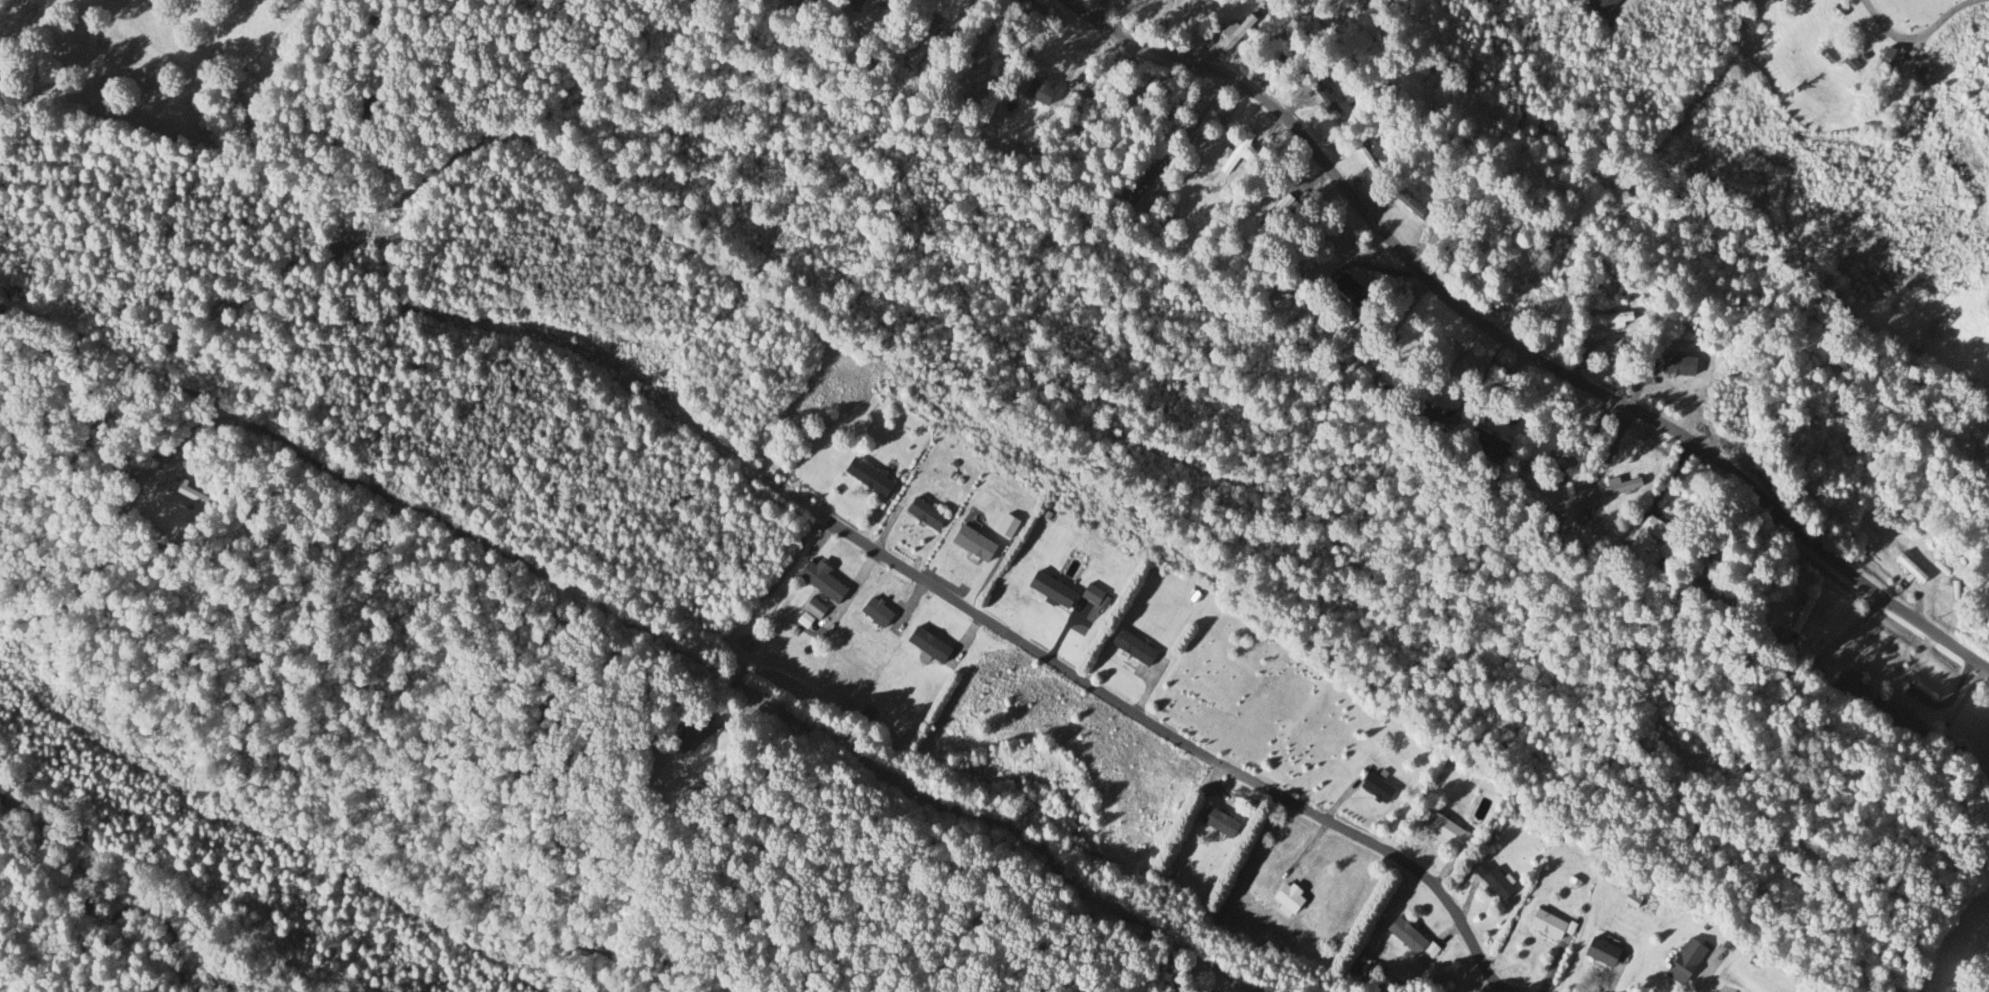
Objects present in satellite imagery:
building: (879, 1)
building: (1604, 4)
road: (1917, 34)
building: (1228, 37)
building: (925, 45)
building: (1825, 56)
building: (1889, 59)
building: (1848, 64)
building: (1323, 100)
building: (1073, 146)
building: (1235, 153)
building: (1360, 158)
building: (1287, 178)
building: (1139, 188)
building: (1404, 200)
building: (1272, 218)
building: (1443, 232)
building: (1296, 274)
building: (1349, 291)
building: (1342, 318)
building: (1608, 320)
road: (1514, 347)
building: (1370, 379)
building: (1486, 445)
building: (1569, 457)
building: (1539, 464)
building: (865, 477)
building: (1617, 489)
building: (183, 493)
building: (923, 515)
building: (1659, 531)
building: (1700, 556)
building: (1908, 569)
building: (820, 582)
building: (1050, 591)
building: (814, 609)
building: (1799, 617)
building: (927, 646)
building: (1129, 649)
road: (717, 674)
building: (1848, 685)
building: (1902, 722)
building: (687, 737)
road: (1178, 744)
building: (1953, 758)
building: (1375, 789)
building: (1216, 823)
building: (1445, 831)
building: (1493, 883)
building: (1286, 900)
building: (1546, 925)
building: (1405, 936)
building: (1599, 953)
building: (1682, 963)
road: (1485, 988)

